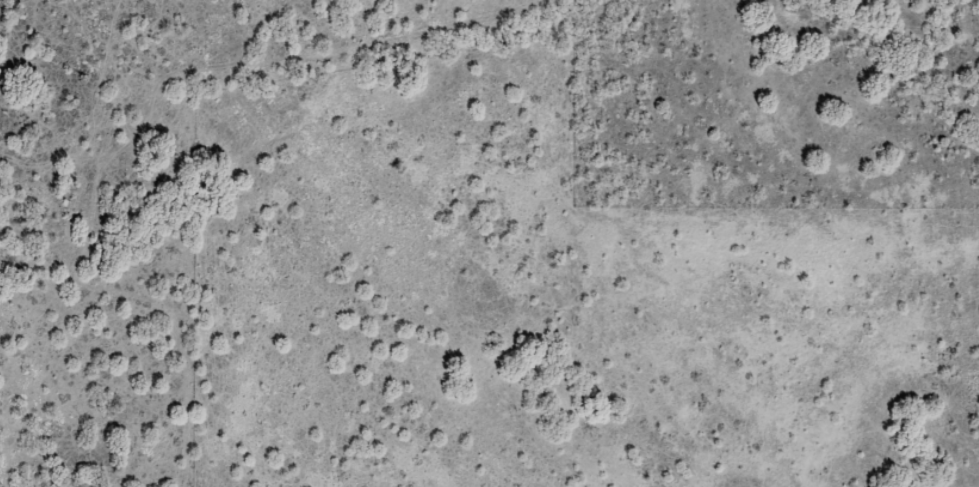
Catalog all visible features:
road: (13, 462)

